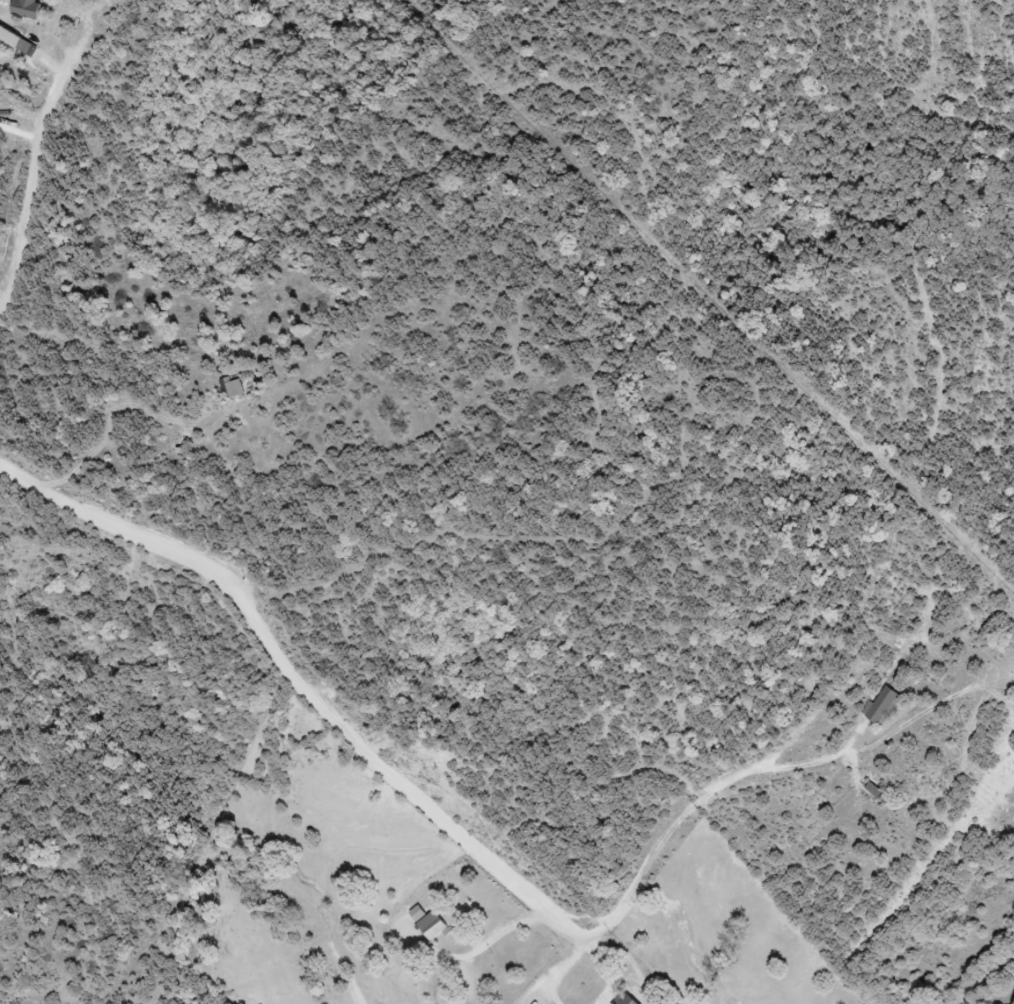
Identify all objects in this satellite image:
building: (35, 8)
building: (16, 35)
road: (60, 132)
building: (237, 391)
road: (119, 406)
road: (324, 677)
building: (885, 709)
road: (694, 777)
building: (443, 930)
road: (590, 976)
building: (633, 1000)

